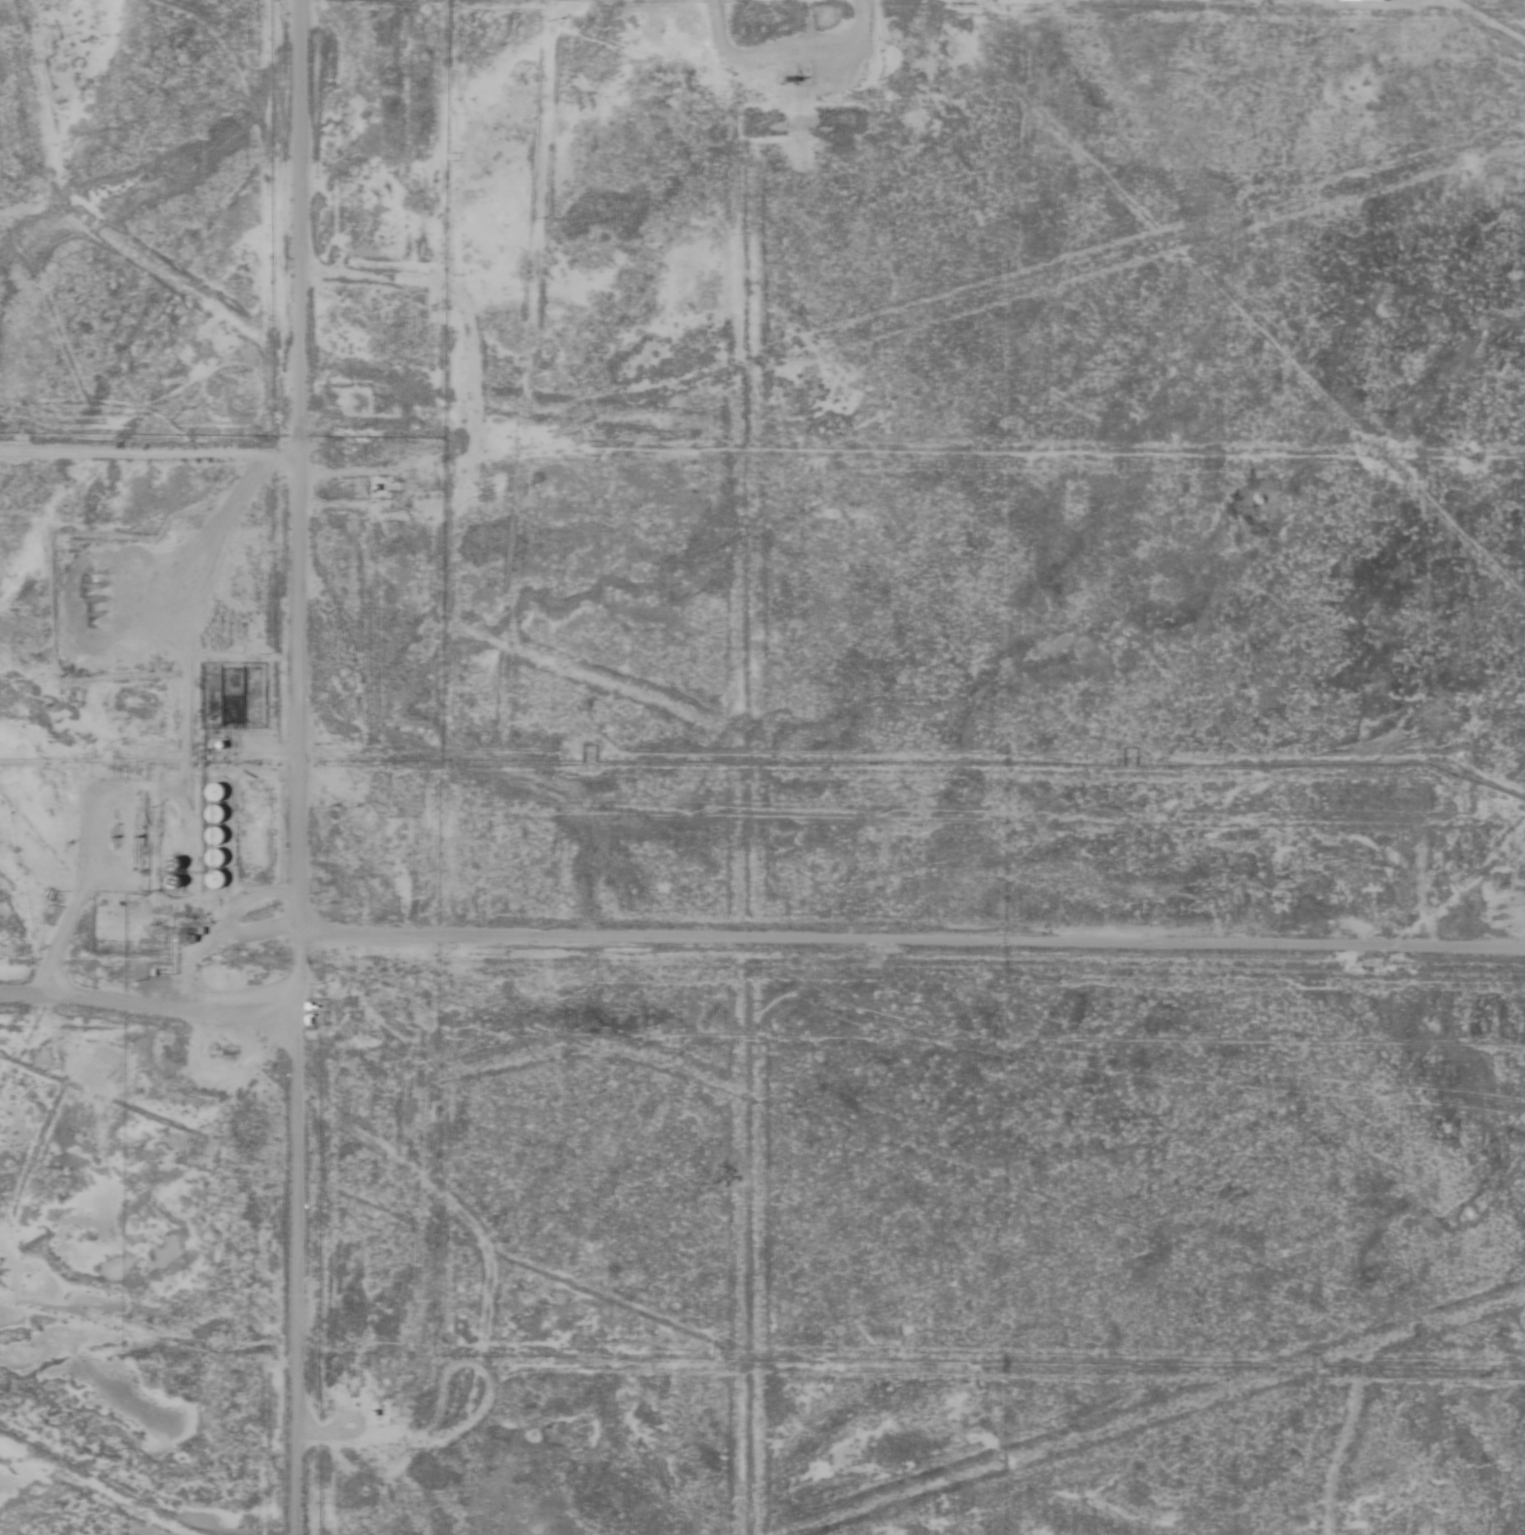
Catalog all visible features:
road: (294, 767)
building: (215, 794)
building: (214, 815)
building: (214, 836)
building: (214, 859)
building: (214, 881)
building: (185, 934)
road: (908, 952)
road: (143, 1005)
building: (320, 1008)

